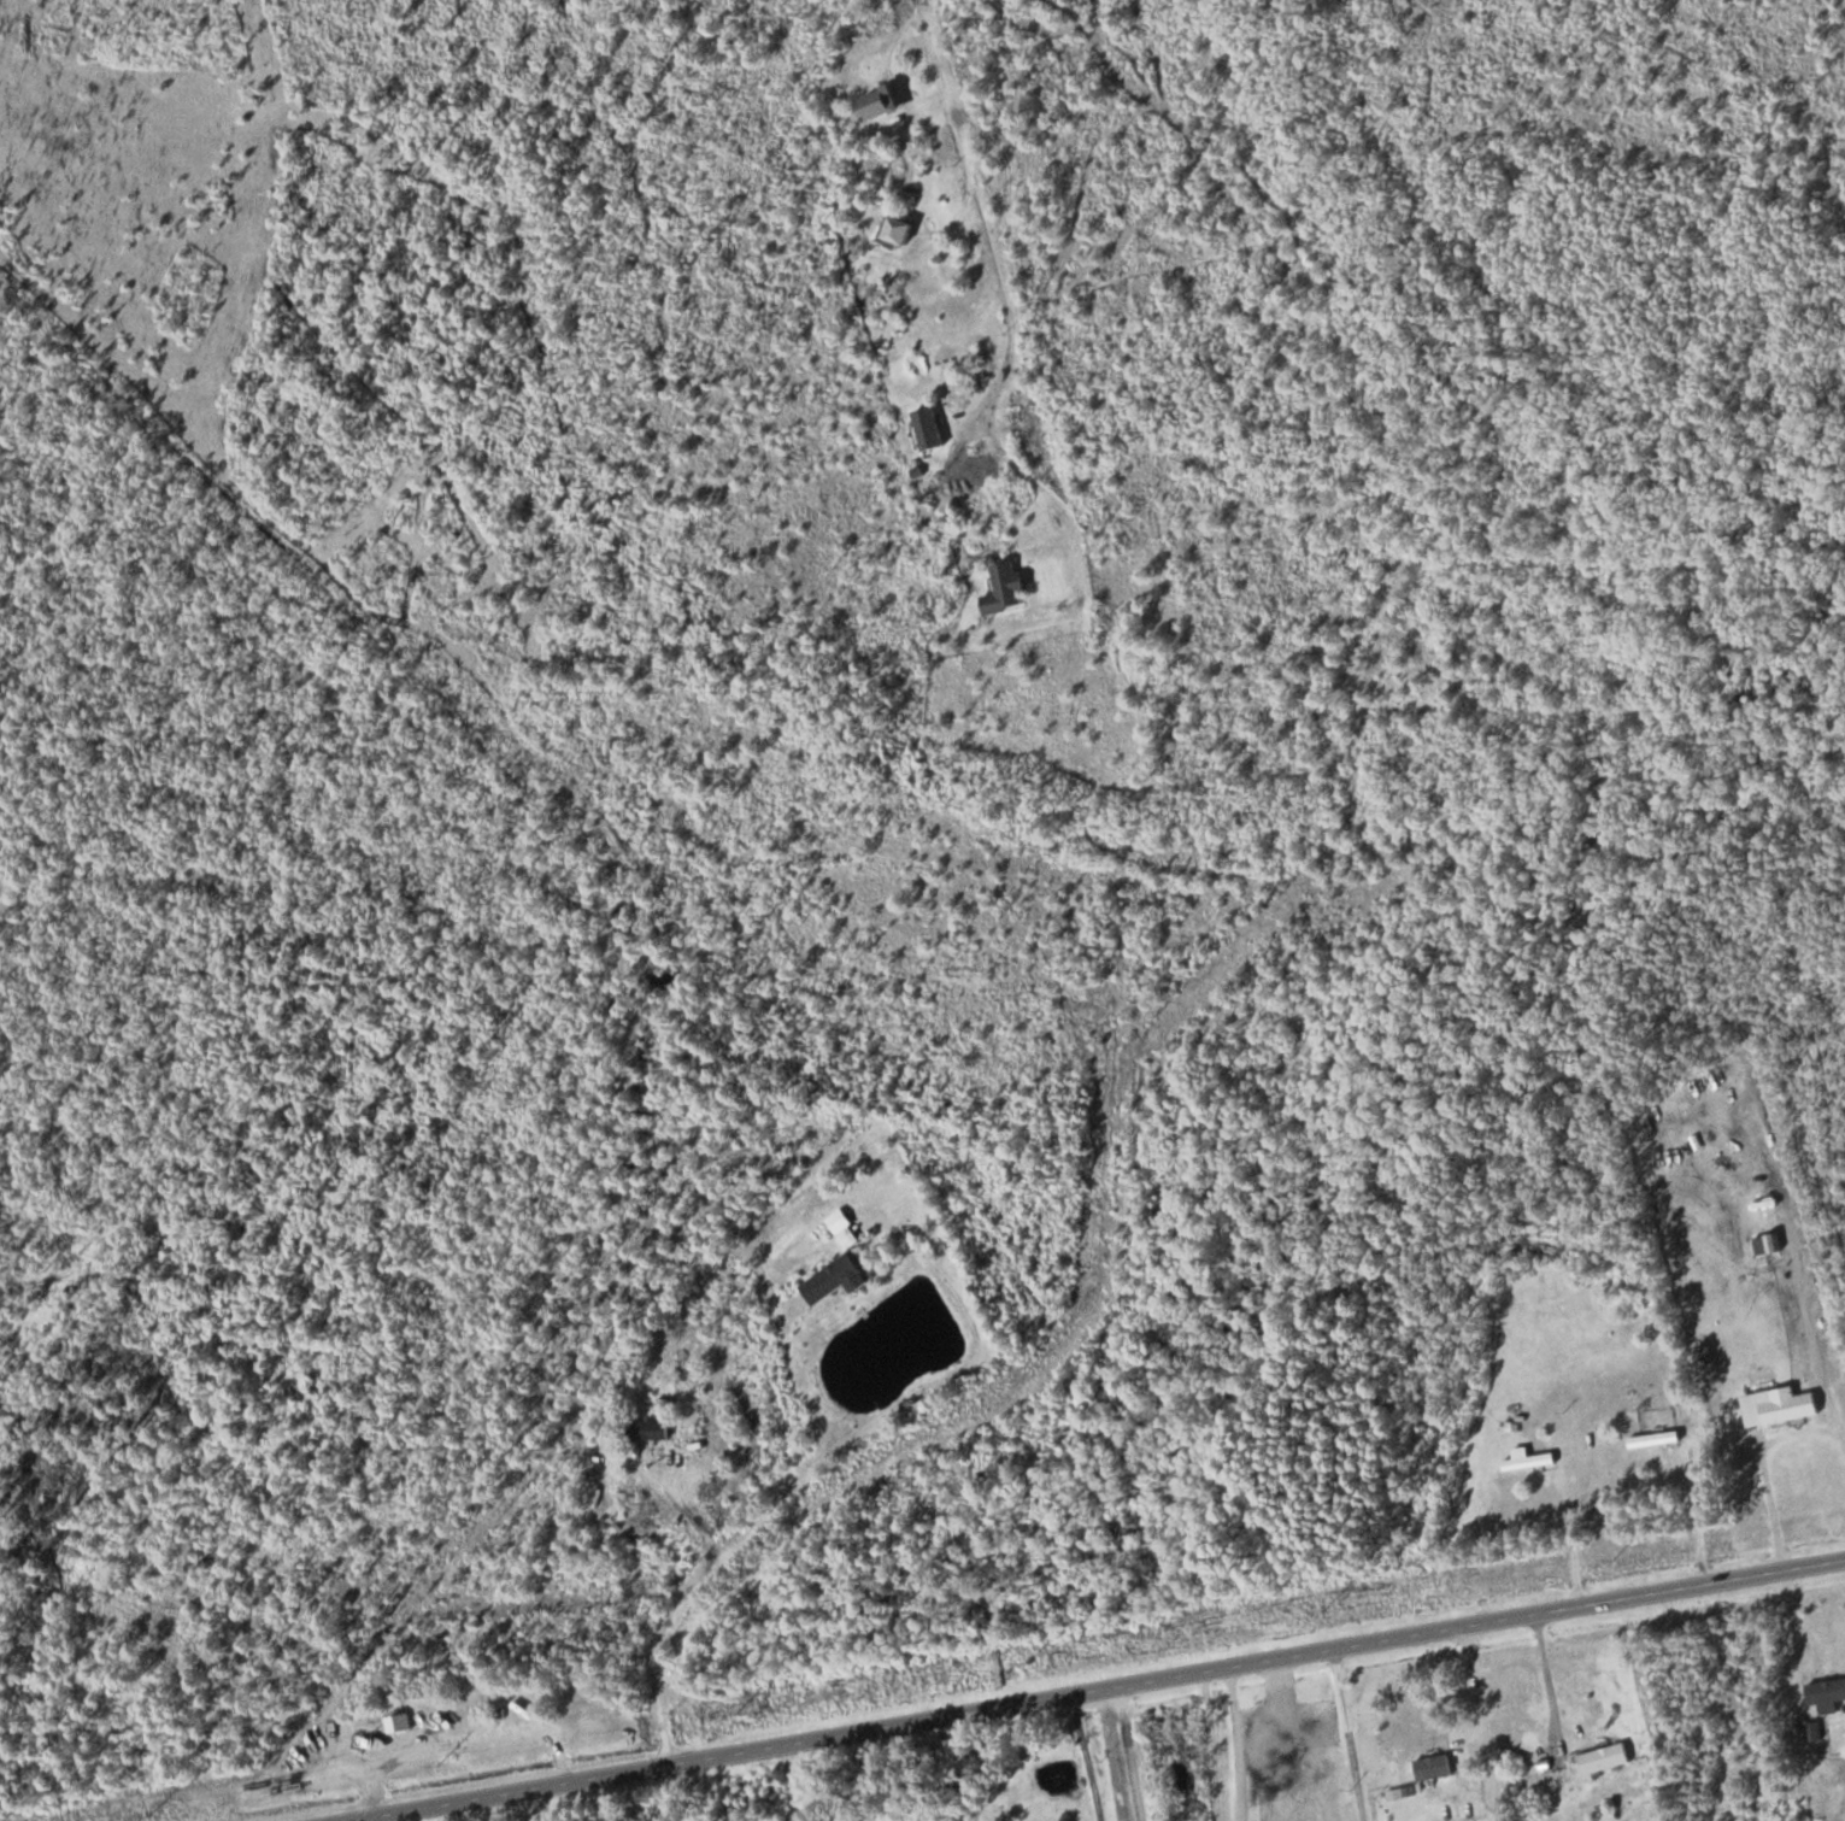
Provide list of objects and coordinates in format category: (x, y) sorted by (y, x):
building: (885, 102)
building: (903, 229)
building: (930, 428)
building: (1007, 588)
building: (1403, 834)
building: (850, 1236)
building: (1769, 1244)
building: (833, 1279)
building: (695, 1384)
building: (1781, 1406)
building: (648, 1429)
building: (1657, 1439)
building: (1532, 1461)
power tower: (1612, 1557)
road: (1757, 1575)
power tower: (1321, 1609)
power tower: (1027, 1663)
building: (1827, 1691)
road: (999, 1705)
road: (1638, 1711)
power tower: (731, 1713)
road: (1483, 1719)
road: (1353, 1739)
road: (1092, 1757)
building: (1606, 1757)
power tower: (436, 1763)
building: (1436, 1767)
road: (527, 1805)
power tower: (148, 1813)

